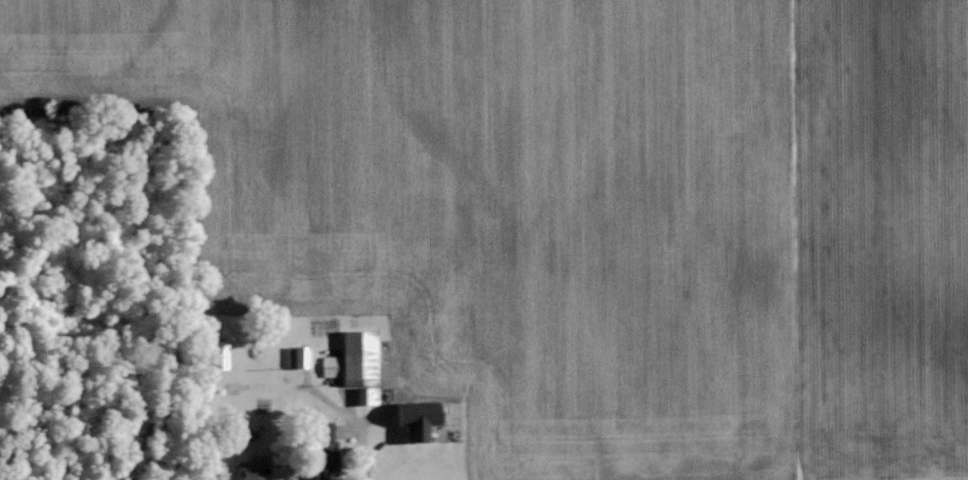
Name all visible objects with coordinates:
building: (219, 354)
building: (354, 358)
building: (417, 418)
building: (326, 443)
building: (250, 471)

